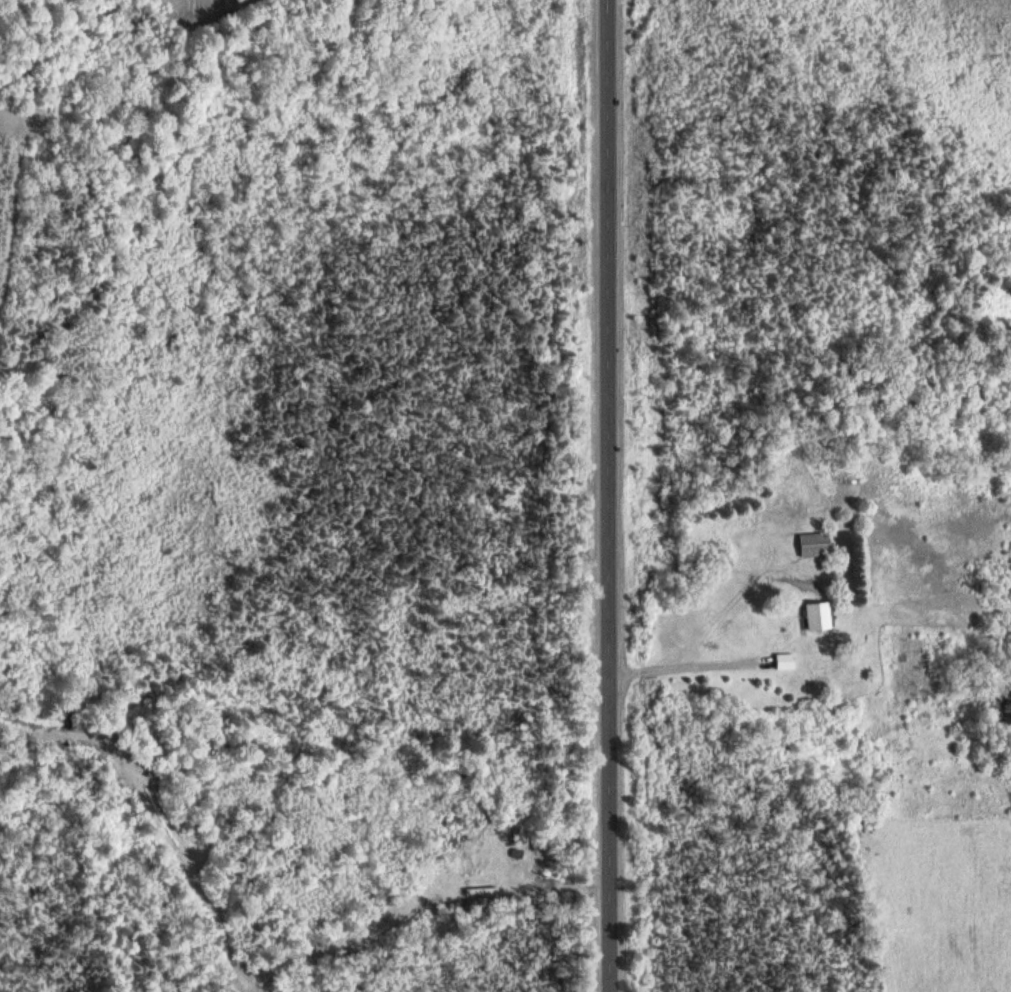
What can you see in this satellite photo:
road: (622, 495)
building: (820, 546)
building: (824, 618)
building: (789, 662)

